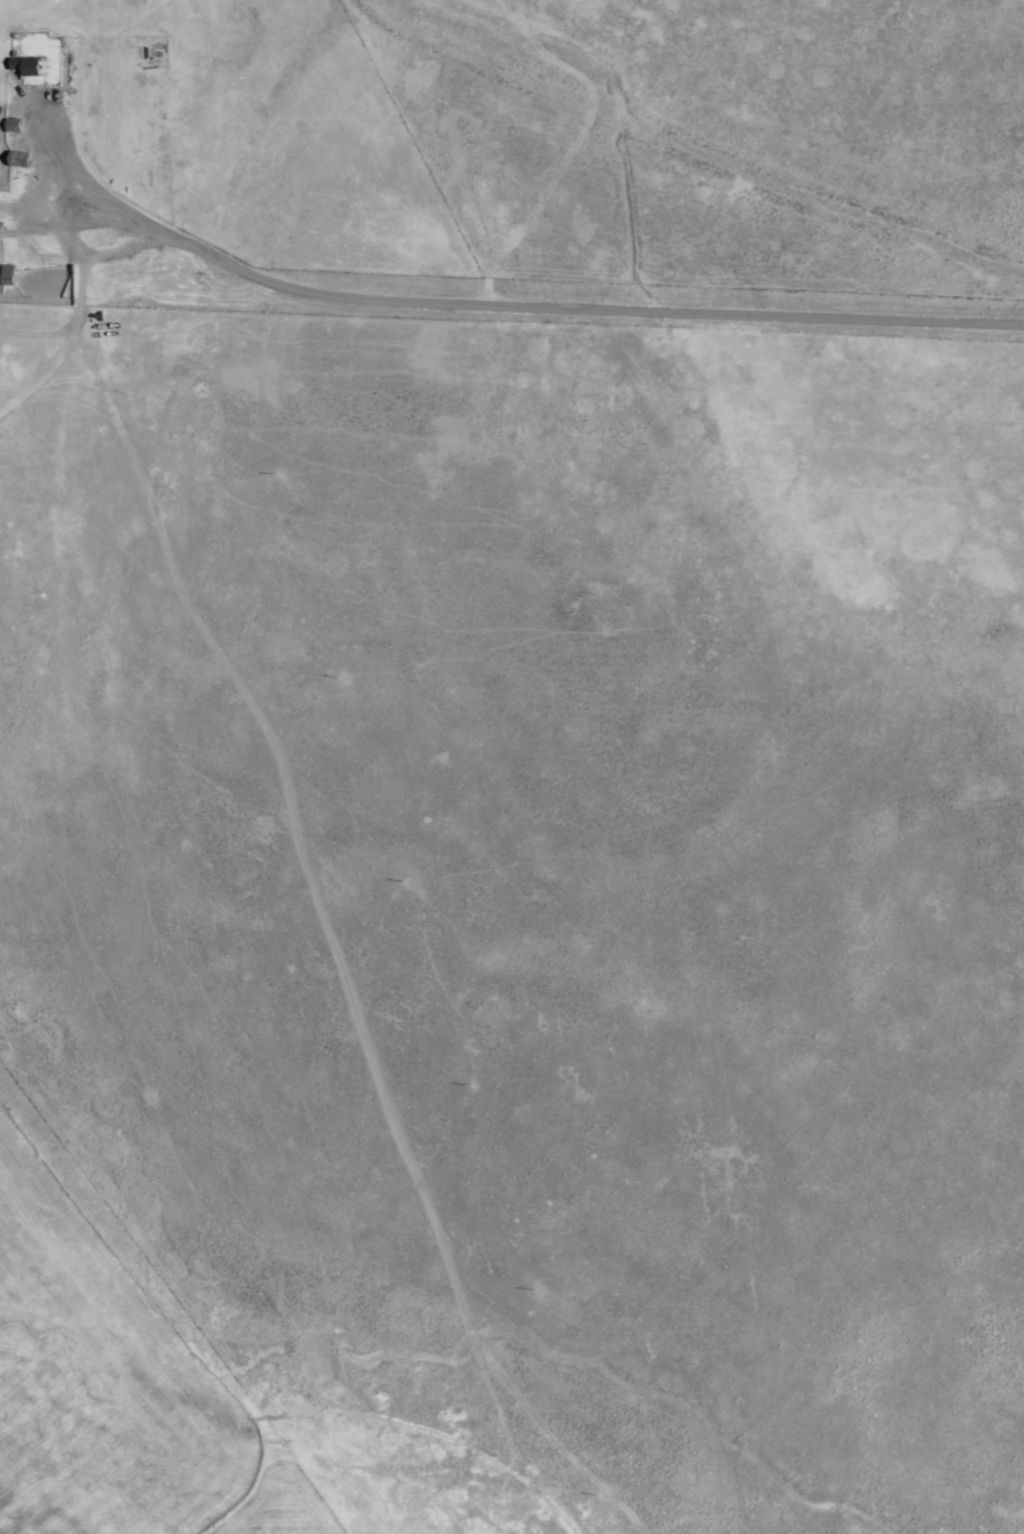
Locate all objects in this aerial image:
road: (510, 303)
crop: (512, 767)

